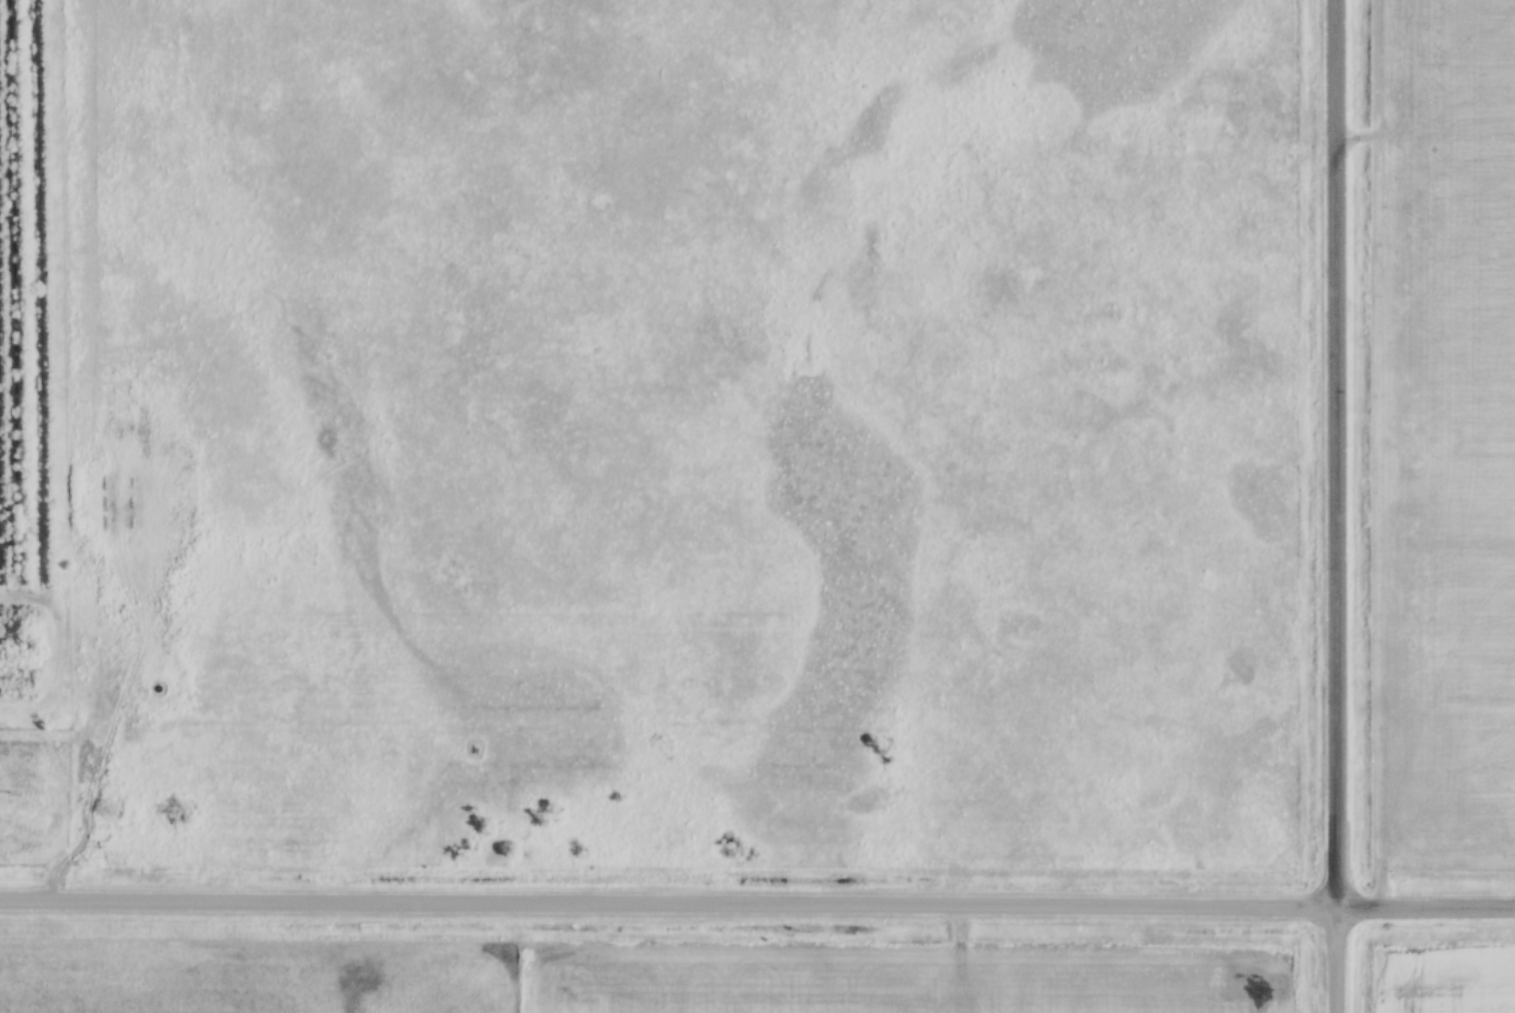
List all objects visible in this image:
road: (1339, 506)
road: (757, 902)

